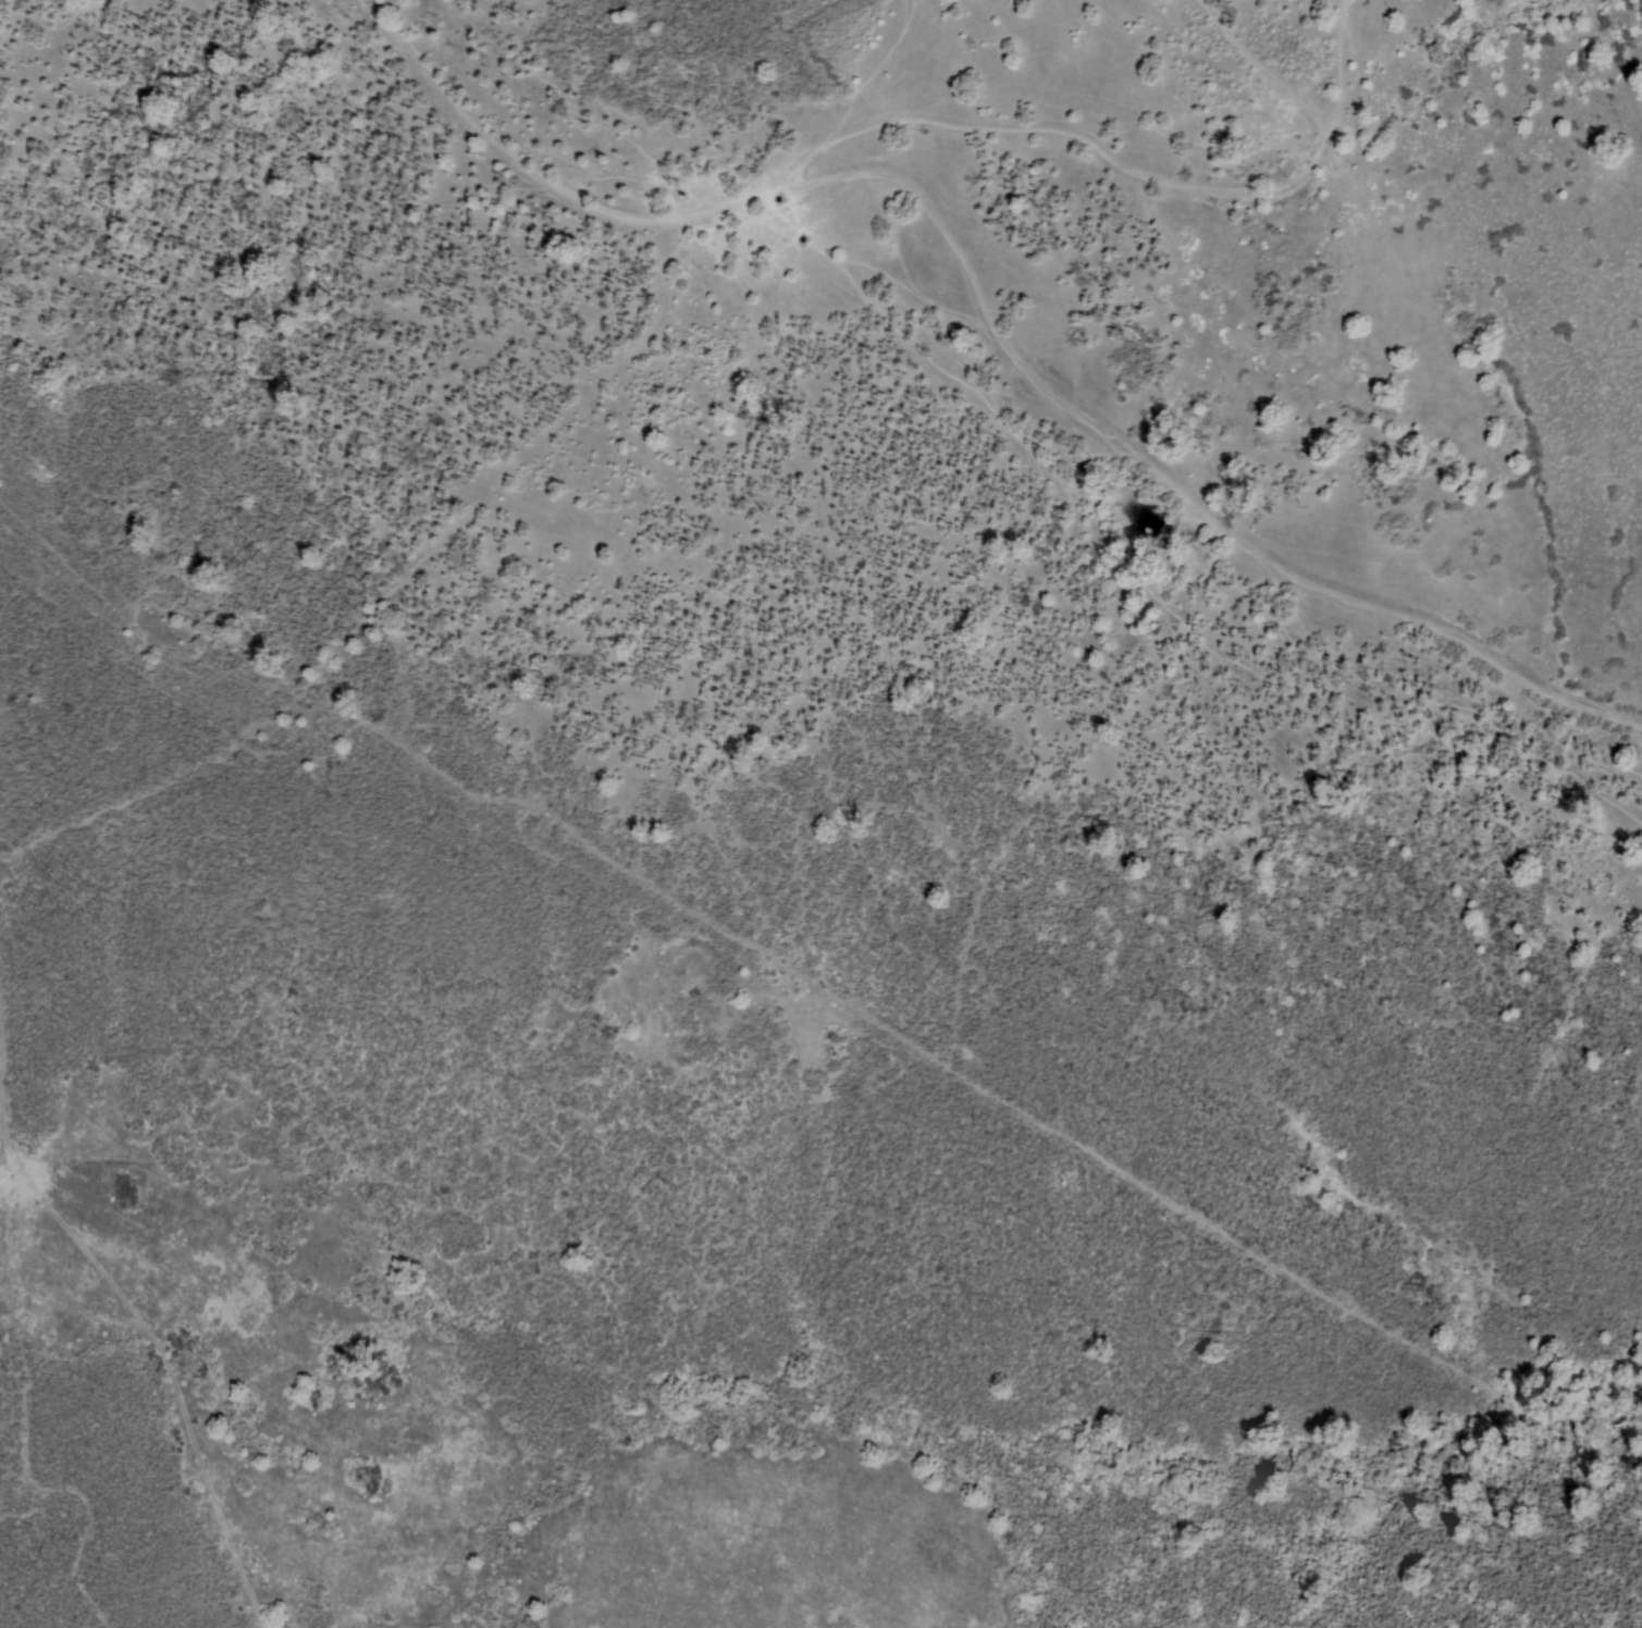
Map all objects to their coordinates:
road: (991, 301)

